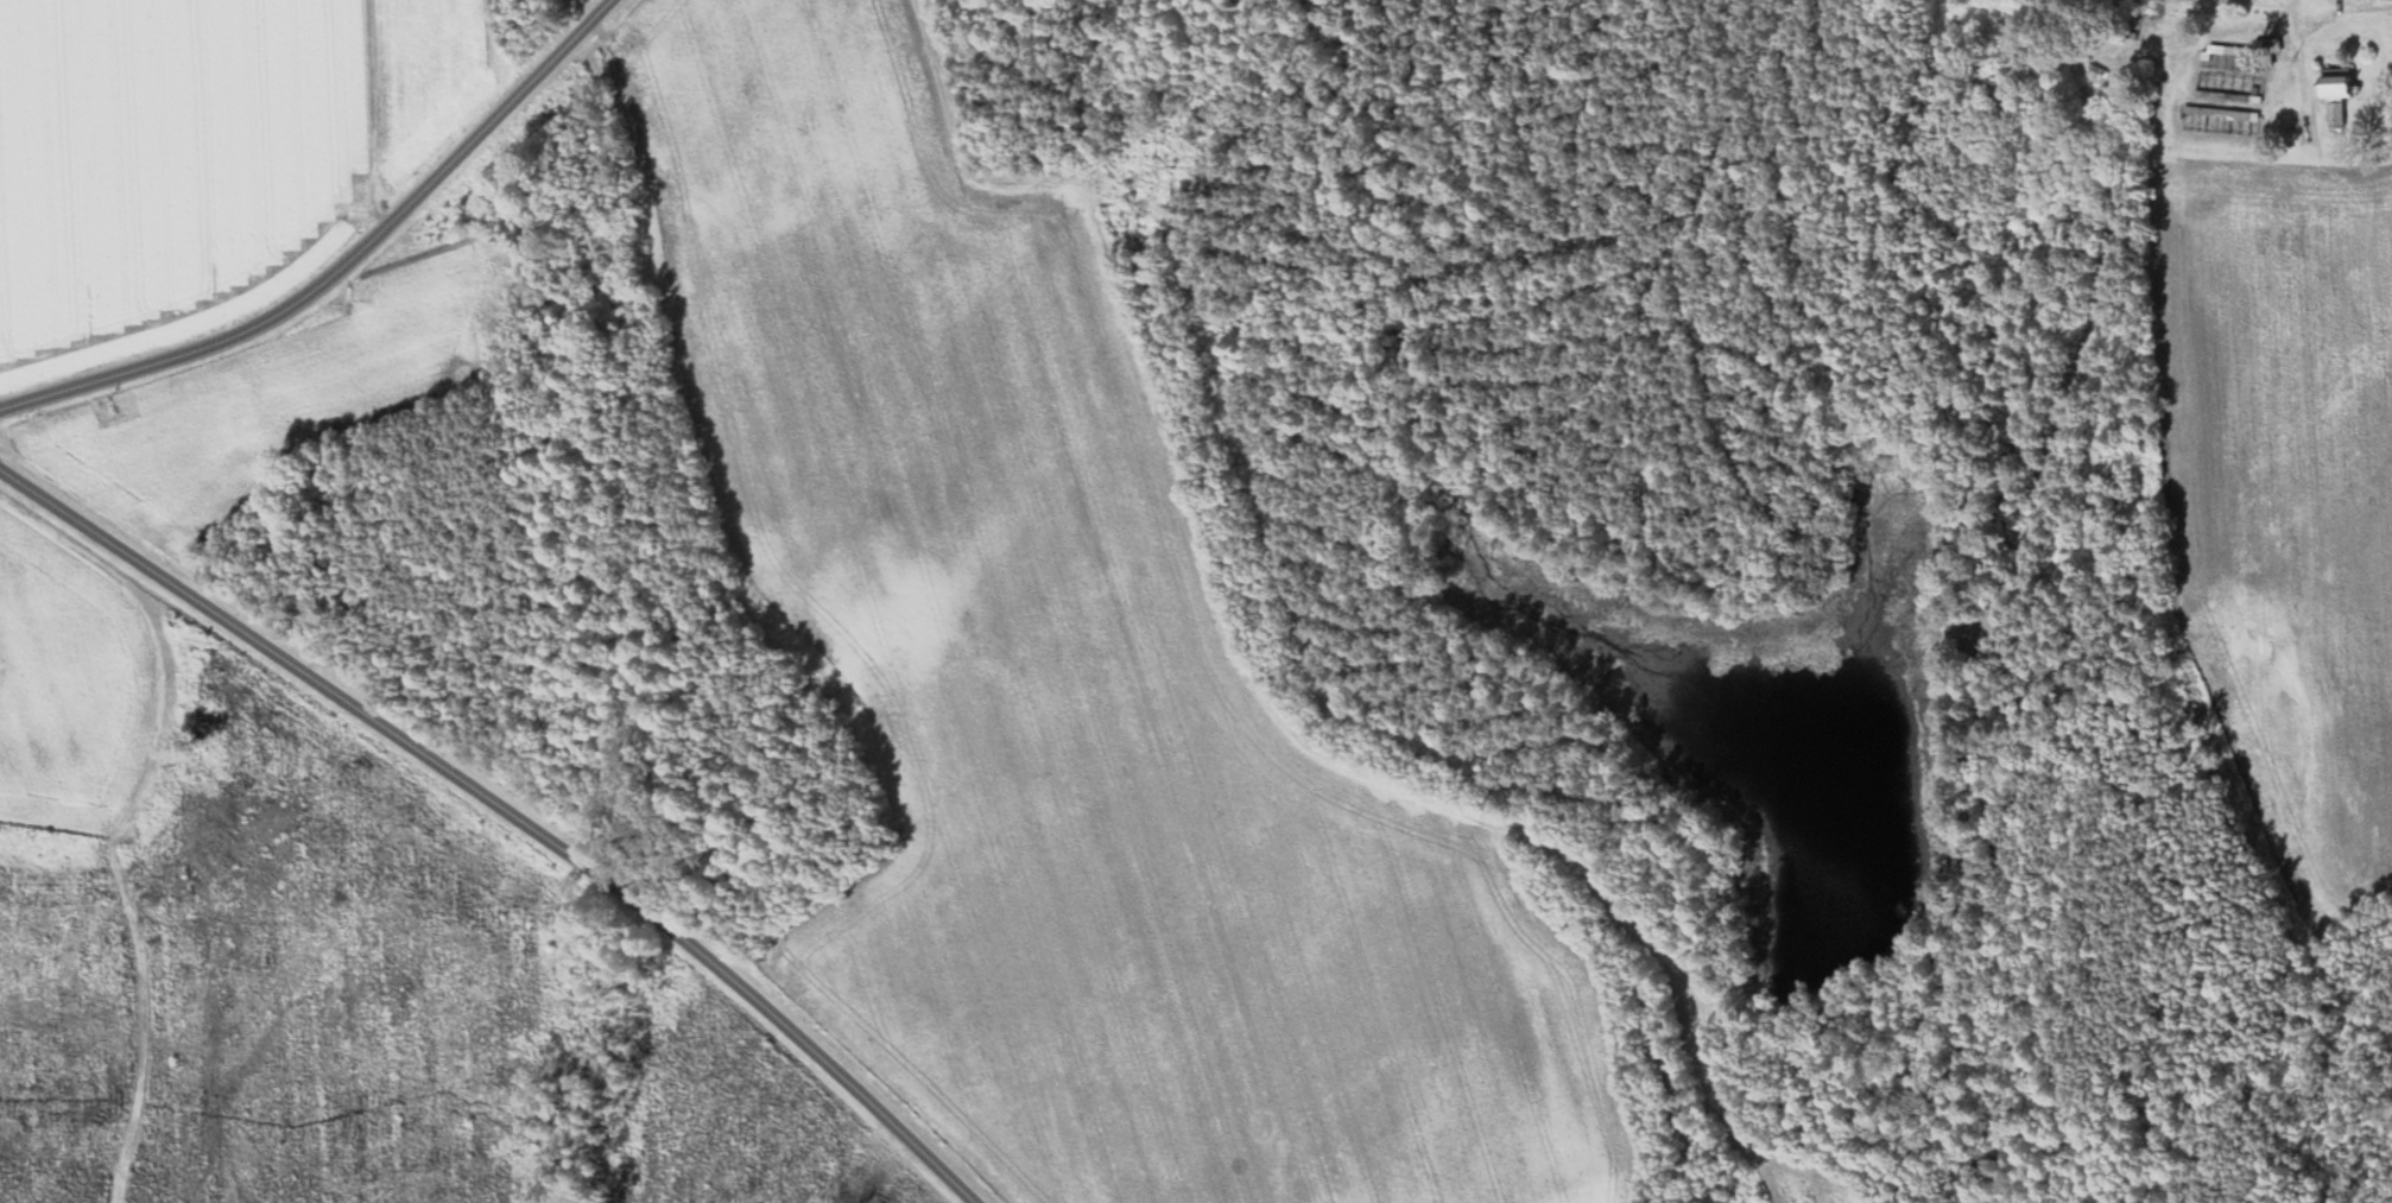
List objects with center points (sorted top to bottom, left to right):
road: (413, 88)
building: (2329, 94)
road: (342, 265)
road: (508, 809)

